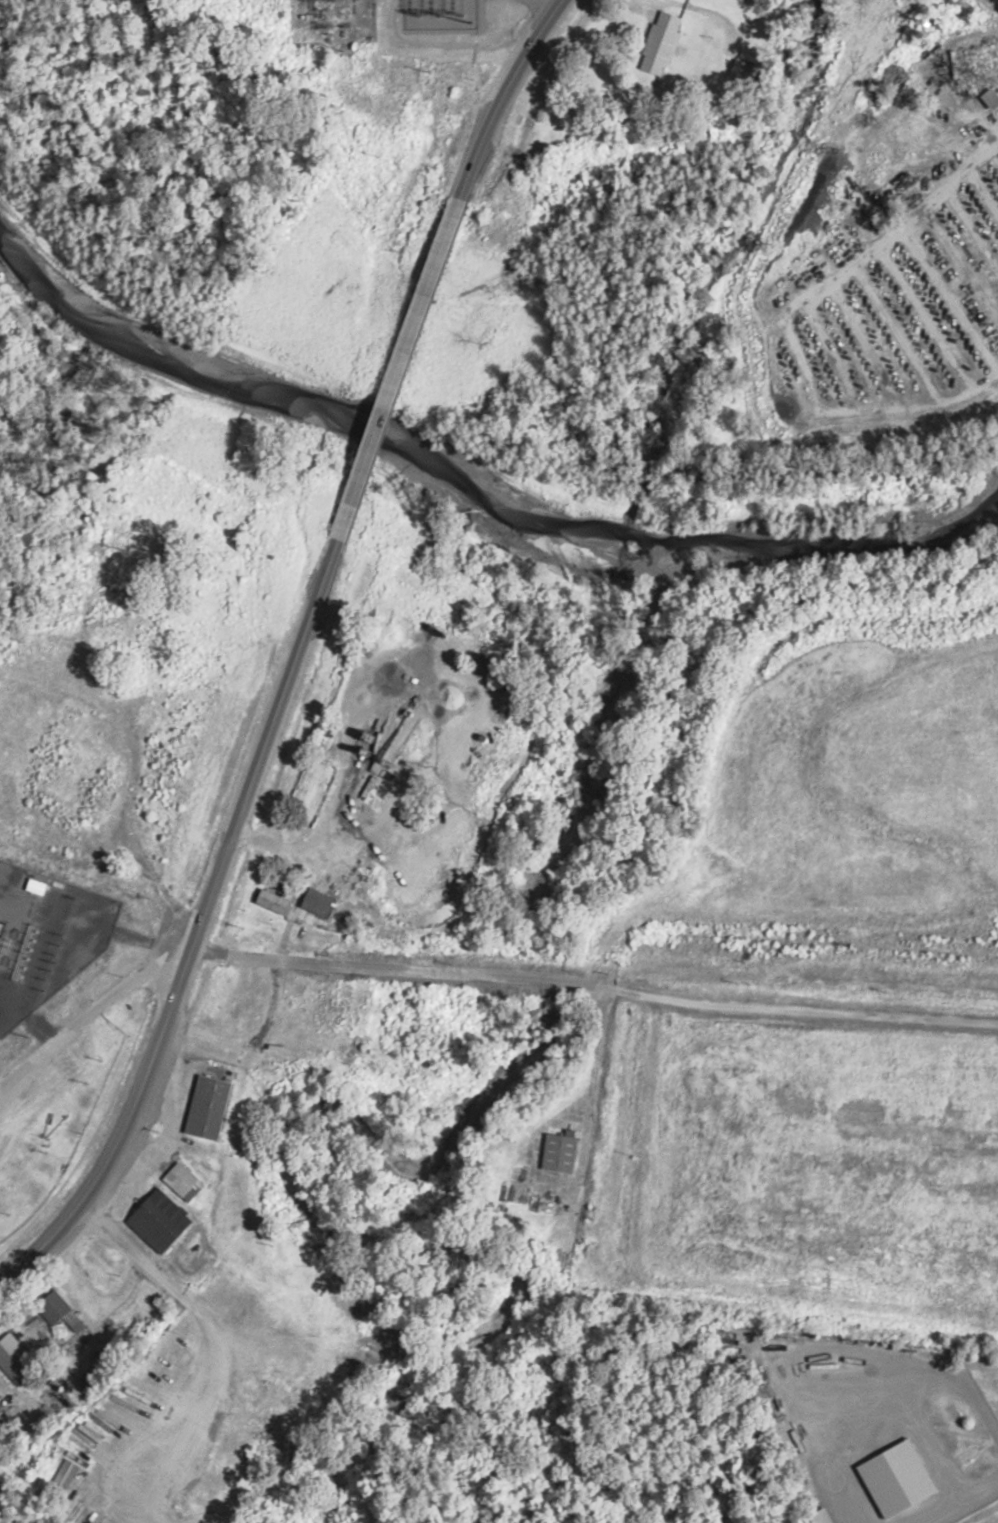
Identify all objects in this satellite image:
power substation: (331, 20)
building: (665, 43)
building: (747, 71)
road: (504, 96)
road: (397, 371)
river: (453, 472)
road: (34, 667)
road: (124, 809)
building: (320, 902)
road: (202, 933)
road: (473, 973)
building: (211, 1107)
building: (185, 1181)
building: (168, 1214)
building: (62, 1312)
building: (17, 1360)
building: (94, 1379)
road: (870, 1404)
road: (928, 1441)
building: (223, 1444)
building: (67, 1473)
road: (951, 1497)

